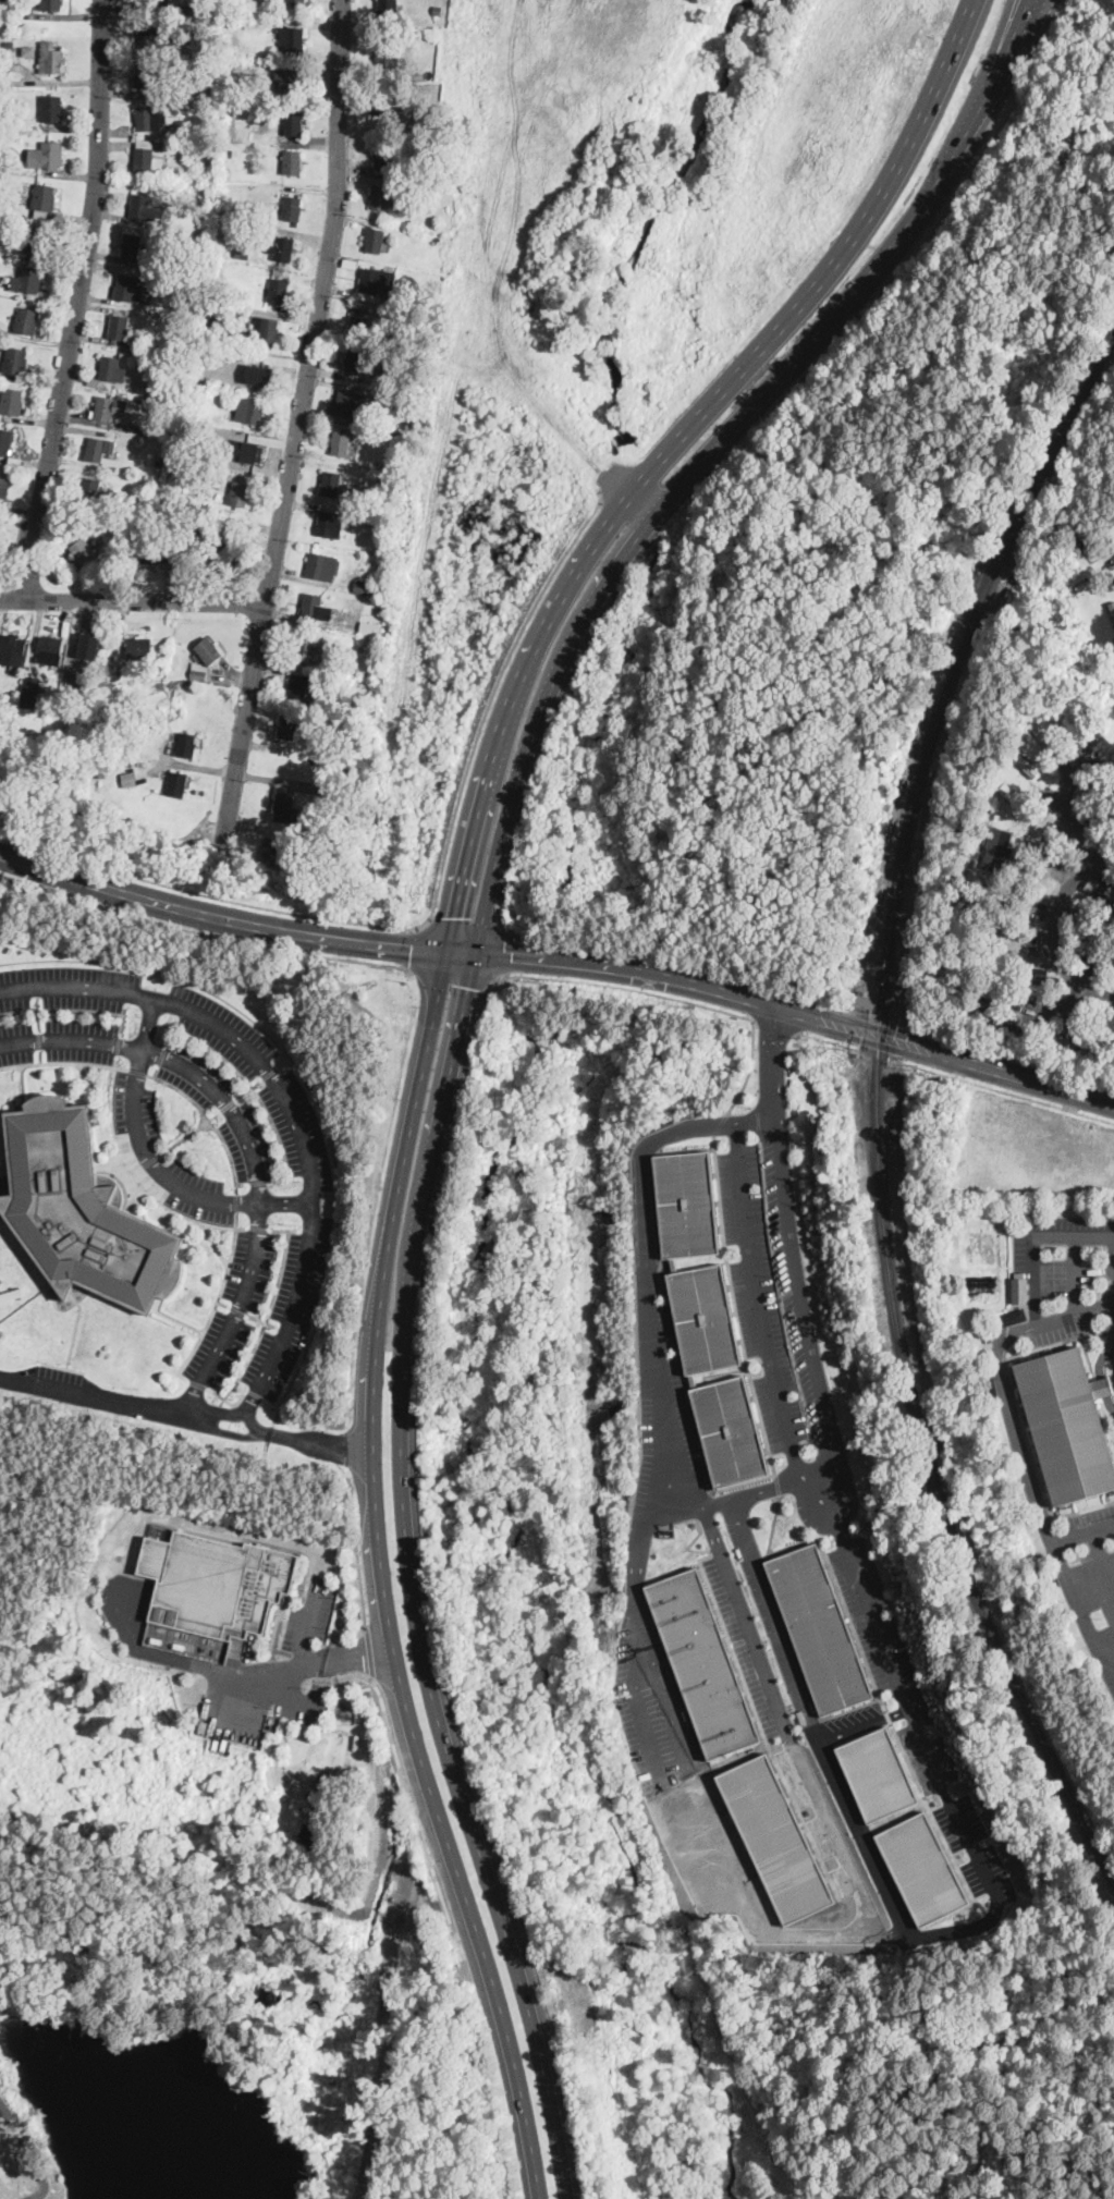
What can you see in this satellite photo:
building: (154, 2)
building: (295, 2)
building: (26, 3)
building: (50, 5)
building: (183, 8)
building: (389, 11)
building: (437, 11)
building: (216, 21)
building: (244, 23)
building: (149, 37)
building: (295, 39)
building: (9, 45)
building: (28, 50)
building: (51, 58)
building: (389, 58)
building: (7, 65)
building: (151, 76)
building: (292, 80)
building: (7, 83)
building: (230, 94)
building: (229, 107)
building: (384, 107)
building: (52, 109)
building: (154, 119)
building: (7, 122)
building: (294, 124)
building: (144, 144)
building: (227, 152)
building: (46, 156)
building: (2, 157)
building: (383, 157)
building: (147, 161)
building: (292, 162)
building: (192, 173)
building: (179, 179)
building: (45, 198)
building: (382, 198)
building: (142, 207)
building: (293, 209)
building: (40, 215)
building: (126, 221)
building: (38, 240)
building: (375, 240)
building: (284, 246)
building: (135, 247)
building: (245, 248)
building: (350, 264)
building: (27, 280)
building: (172, 281)
building: (378, 282)
building: (131, 290)
building: (279, 291)
road: (79, 302)
building: (26, 321)
building: (359, 322)
building: (121, 329)
building: (268, 329)
building: (240, 338)
building: (107, 341)
building: (0, 353)
building: (16, 362)
building: (357, 363)
building: (170, 364)
building: (112, 370)
building: (264, 371)
building: (94, 381)
building: (392, 398)
building: (142, 399)
building: (12, 402)
building: (354, 404)
building: (110, 407)
building: (250, 411)
building: (408, 411)
building: (371, 414)
building: (188, 415)
road: (298, 426)
building: (5, 442)
building: (341, 443)
building: (99, 449)
building: (394, 452)
railway: (1050, 455)
building: (207, 476)
building: (332, 485)
building: (3, 489)
building: (93, 491)
building: (241, 494)
building: (128, 505)
building: (122, 512)
building: (328, 523)
building: (1113, 539)
building: (1089, 542)
park: (9, 546)
building: (159, 550)
building: (222, 550)
building: (84, 552)
building: (115, 555)
building: (322, 567)
building: (374, 587)
building: (378, 600)
road: (133, 602)
building: (1112, 607)
building: (316, 608)
building: (371, 631)
building: (88, 646)
building: (307, 646)
building: (139, 647)
building: (13, 649)
building: (51, 650)
building: (205, 658)
building: (112, 660)
building: (353, 667)
building: (298, 687)
building: (30, 693)
building: (363, 712)
building: (289, 726)
building: (1041, 730)
building: (122, 737)
building: (187, 745)
building: (1113, 756)
building: (119, 762)
building: (1026, 763)
building: (130, 781)
building: (176, 784)
building: (1018, 802)
building: (285, 806)
road: (1067, 817)
building: (1104, 836)
building: (277, 851)
building: (999, 851)
building: (1000, 894)
building: (1100, 895)
road: (432, 908)
traffic signals: (456, 916)
road: (464, 925)
road: (1056, 925)
building: (1099, 928)
building: (1003, 931)
road: (205, 934)
traffic signals: (411, 949)
road: (415, 949)
building: (1087, 949)
road: (507, 953)
building: (997, 954)
traffic signals: (512, 956)
road: (687, 958)
road: (560, 961)
road: (454, 978)
building: (1044, 980)
road: (613, 985)
traffic signals: (470, 987)
building: (984, 990)
road: (1055, 1004)
building: (979, 1013)
road: (880, 1014)
road: (775, 1024)
road: (461, 1028)
building: (1098, 1033)
road: (431, 1035)
road: (830, 1040)
building: (1062, 1042)
road: (1003, 1050)
road: (874, 1053)
road: (750, 1066)
road: (1000, 1089)
road: (289, 1107)
road: (721, 1122)
road: (248, 1144)
road: (150, 1161)
building: (687, 1200)
building: (82, 1210)
road: (1035, 1239)
railway: (883, 1245)
road: (791, 1250)
road: (1077, 1273)
building: (1019, 1288)
road: (1076, 1311)
building: (702, 1316)
building: (1011, 1316)
road: (760, 1322)
road: (652, 1324)
road: (742, 1337)
building: (1012, 1380)
building: (990, 1384)
road: (187, 1415)
road: (1008, 1415)
building: (1067, 1424)
building: (730, 1430)
road: (776, 1483)
road: (773, 1523)
road: (1101, 1557)
road: (1067, 1580)
building: (220, 1585)
road: (360, 1586)
road: (744, 1615)
road: (638, 1621)
building: (819, 1628)
road: (877, 1645)
road: (369, 1649)
road: (179, 1661)
building: (702, 1661)
road: (304, 1662)
road: (277, 1688)
road: (857, 1727)
road: (402, 1771)
building: (881, 1771)
road: (849, 1828)
building: (776, 1835)
building: (927, 1865)
park: (157, 1968)
road: (38, 2145)

